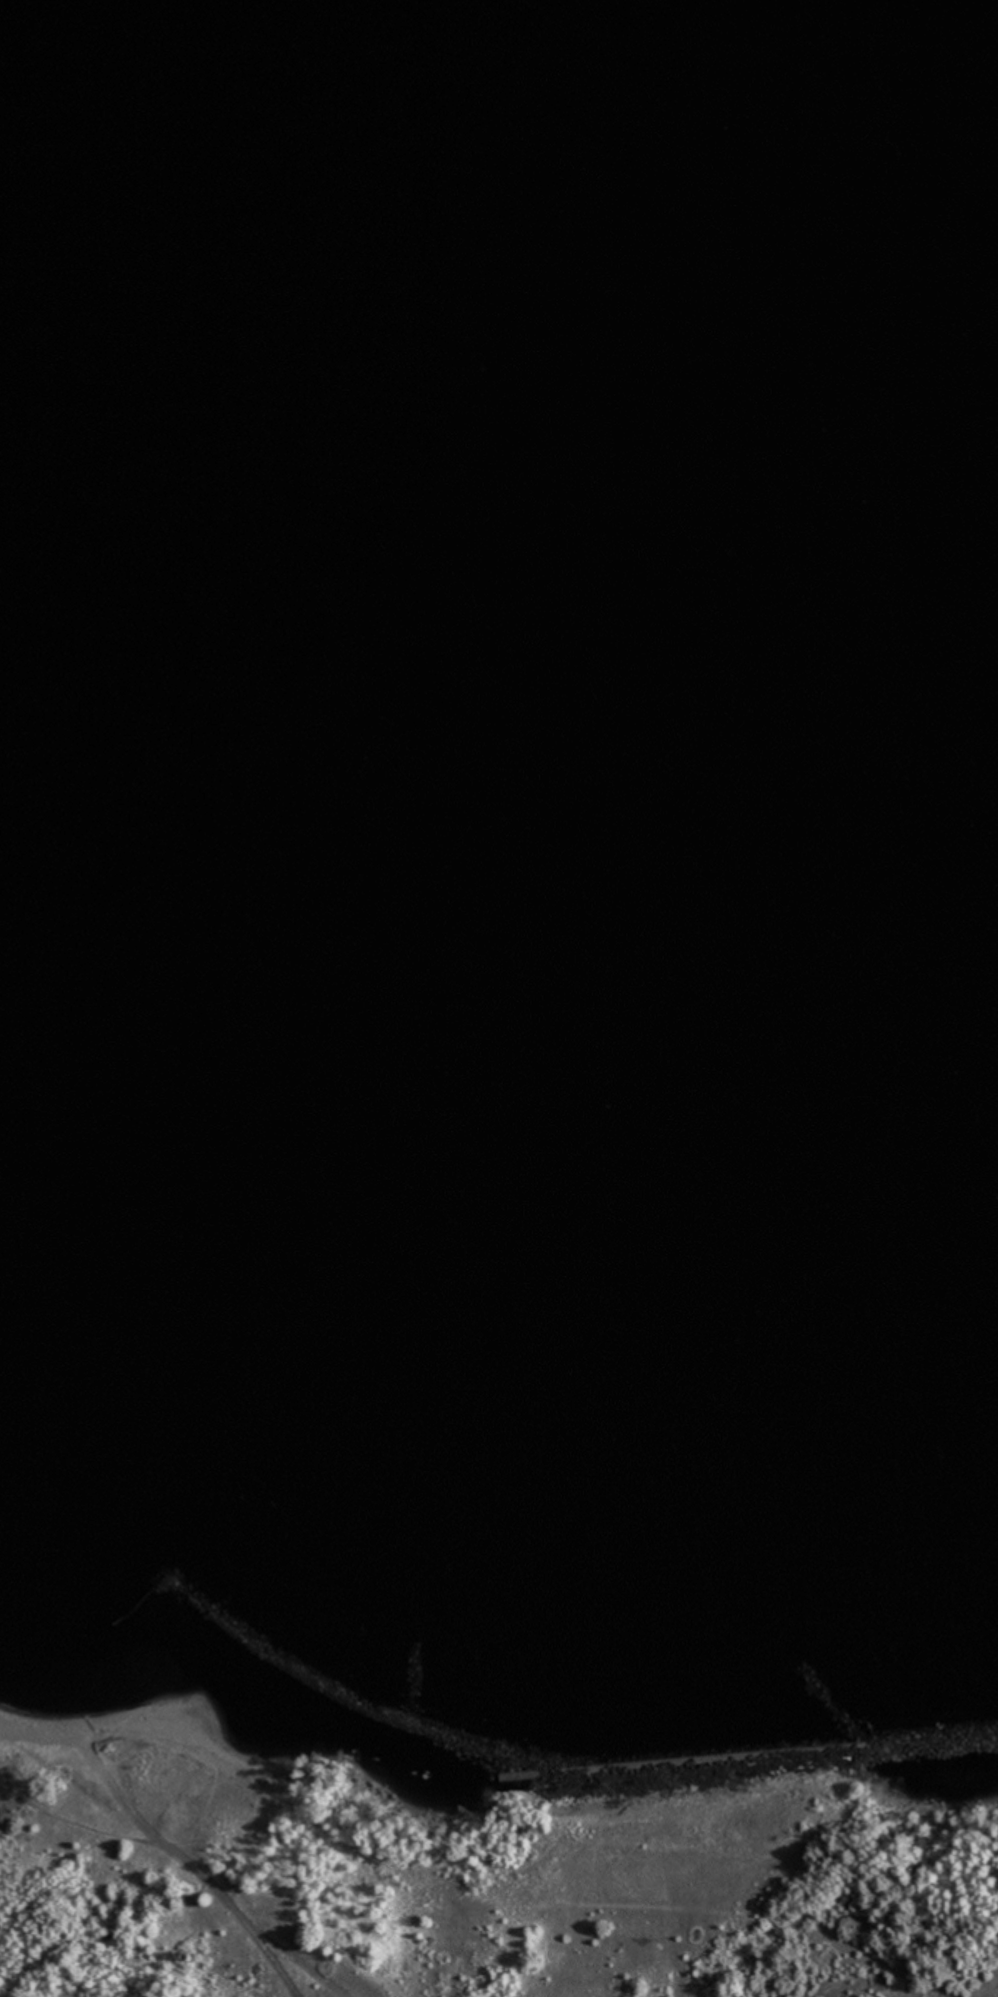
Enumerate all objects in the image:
road: (190, 1862)

